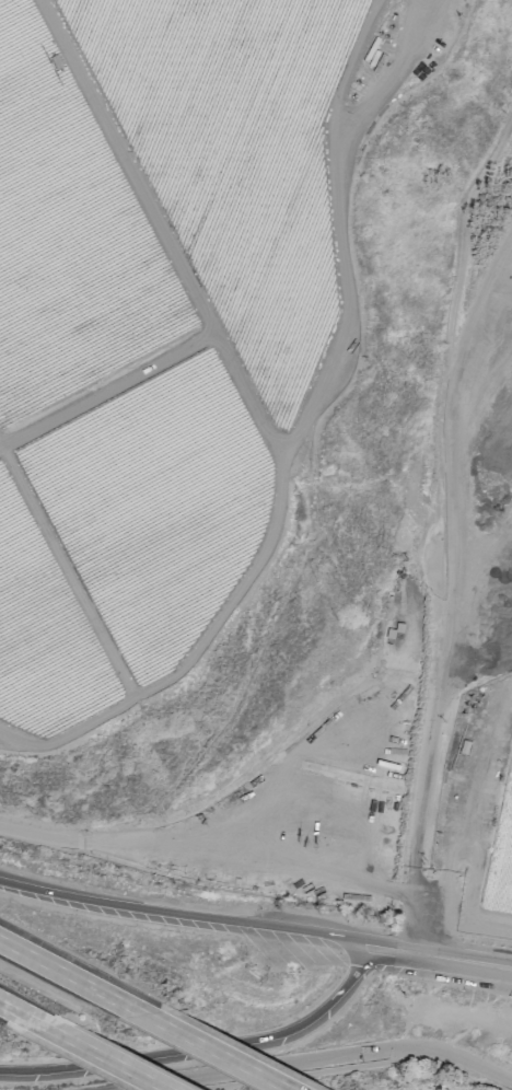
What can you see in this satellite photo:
road: (381, 89)
crop: (234, 159)
road: (161, 230)
crop: (68, 234)
road: (462, 237)
road: (106, 389)
road: (291, 440)
crop: (155, 506)
road: (66, 571)
road: (449, 604)
crop: (43, 634)
road: (16, 735)
crop: (500, 857)
road: (321, 872)
road: (469, 901)
road: (186, 913)
road: (395, 950)
road: (465, 961)
road: (51, 964)
road: (19, 1013)
road: (196, 1041)
road: (202, 1046)
road: (100, 1057)
road: (326, 1058)
road: (351, 1066)
park: (55, 1088)

